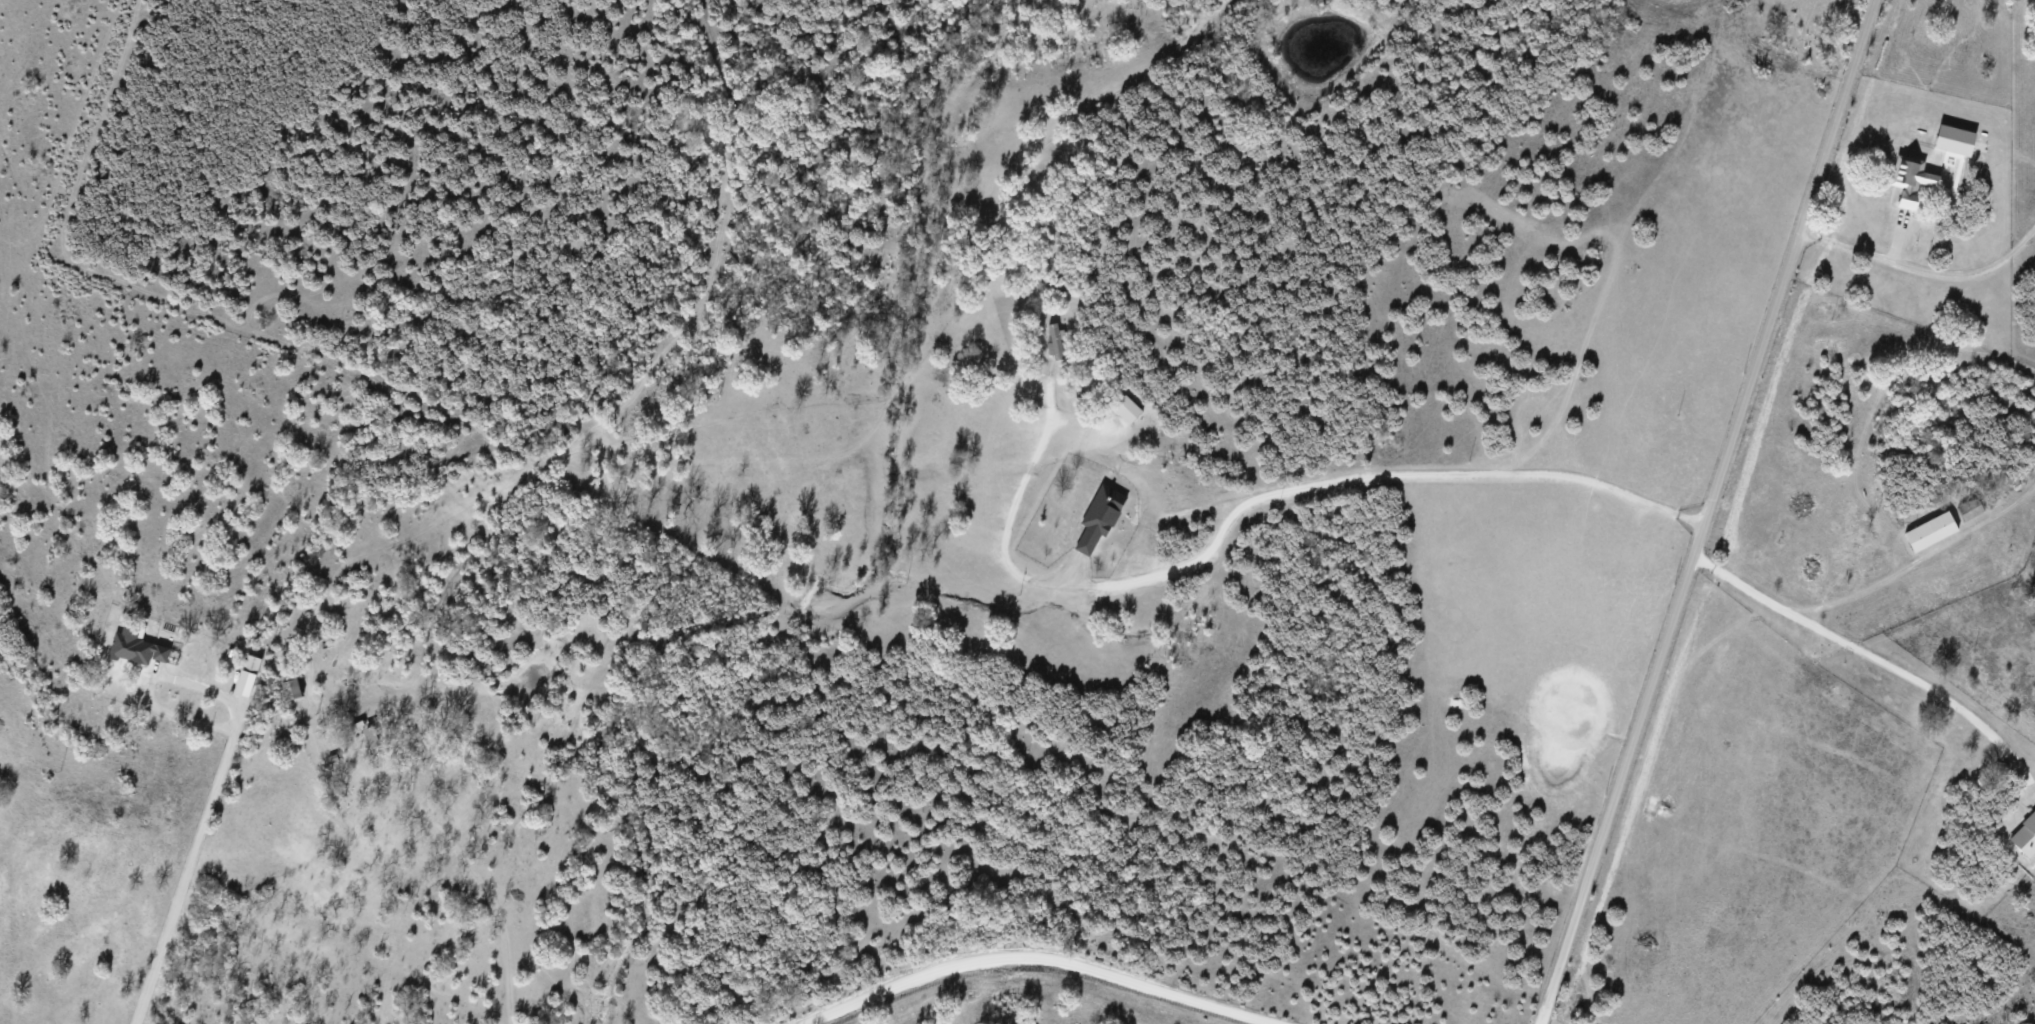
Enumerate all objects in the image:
building: (1905, 181)
building: (1054, 340)
building: (1125, 409)
building: (1968, 509)
road: (1709, 512)
building: (1095, 520)
building: (1927, 531)
building: (133, 647)
building: (250, 663)
building: (287, 689)
building: (363, 733)
building: (2024, 836)
road: (1042, 957)

